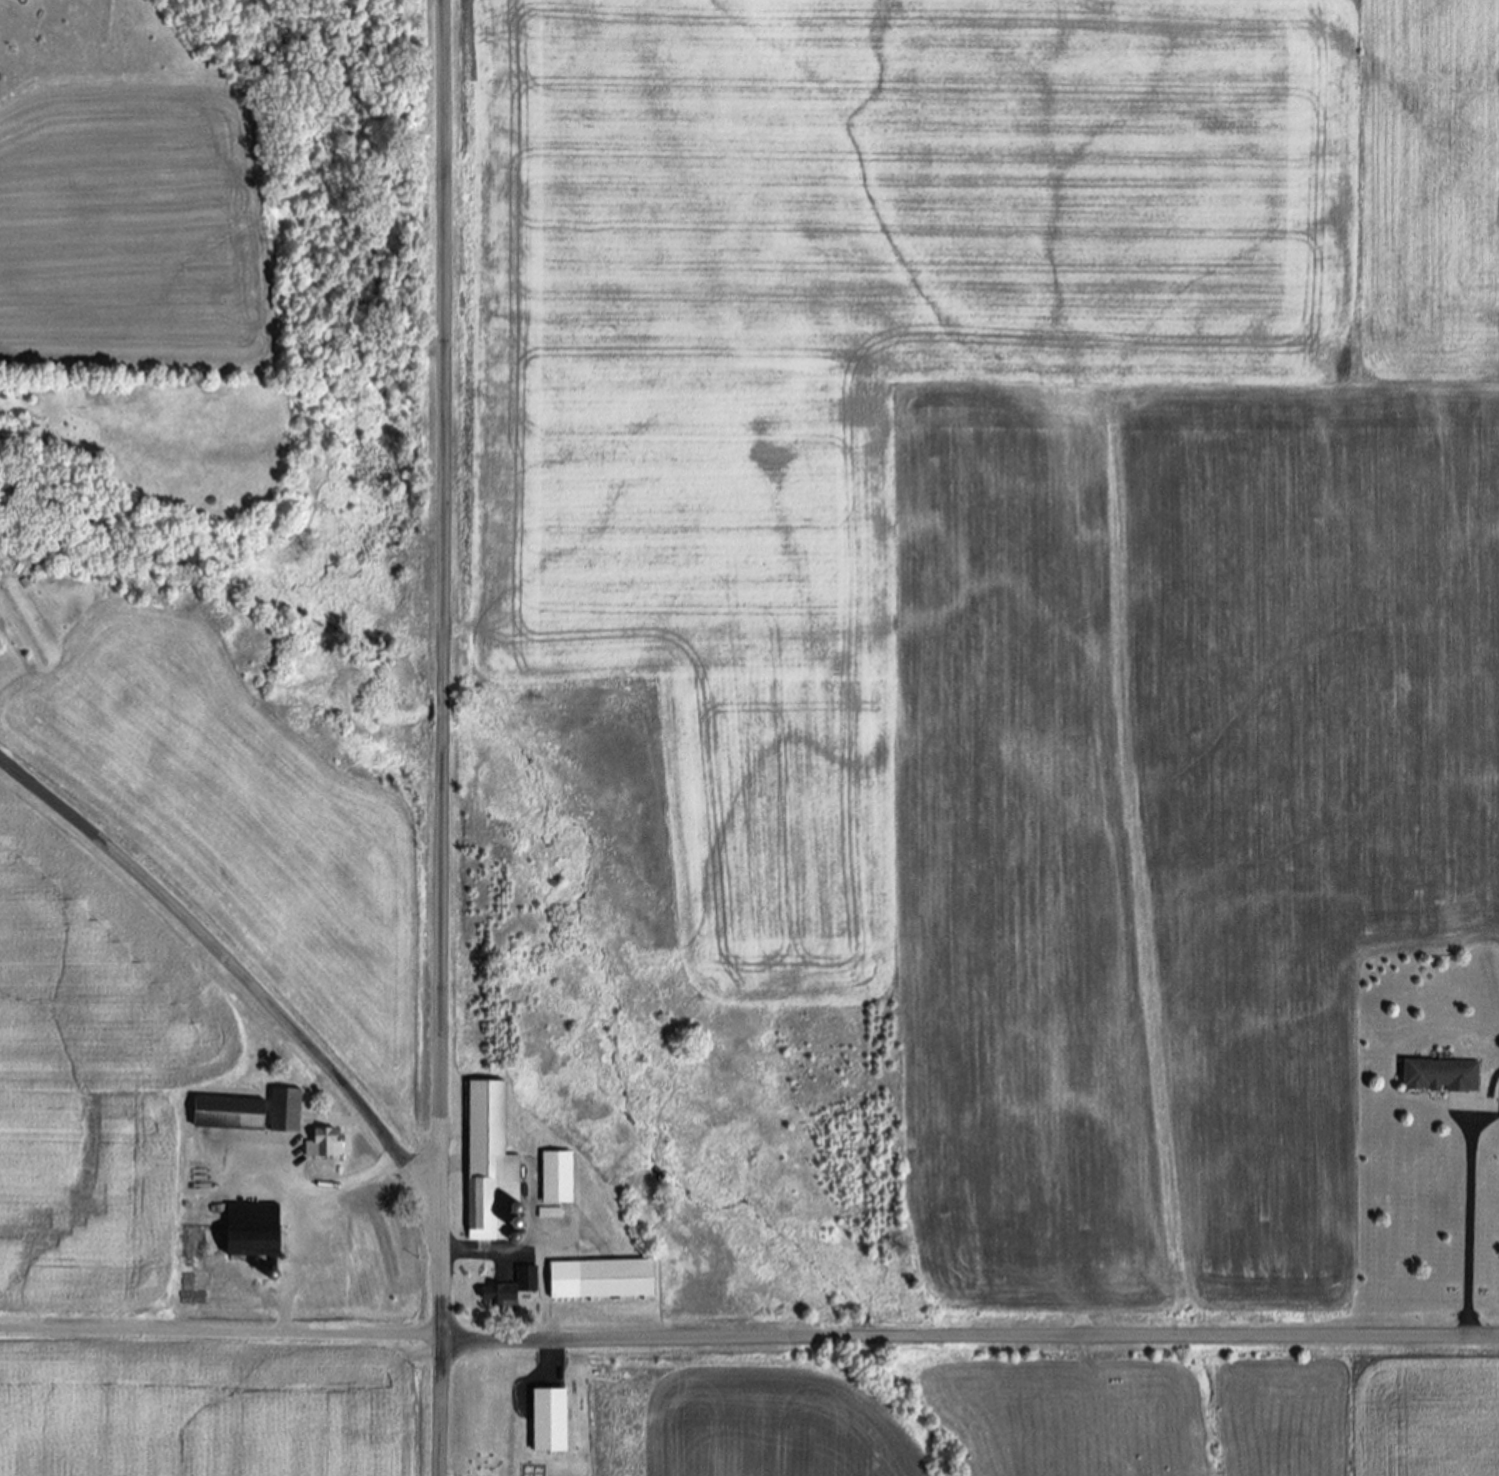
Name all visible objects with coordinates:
road: (441, 738)
road: (232, 971)
building: (1442, 1077)
building: (287, 1111)
building: (231, 1115)
building: (324, 1145)
building: (492, 1167)
building: (558, 1178)
road: (302, 1217)
building: (255, 1231)
road: (1468, 1234)
building: (561, 1250)
road: (532, 1251)
building: (618, 1280)
building: (512, 1290)
road: (749, 1339)
building: (549, 1423)

